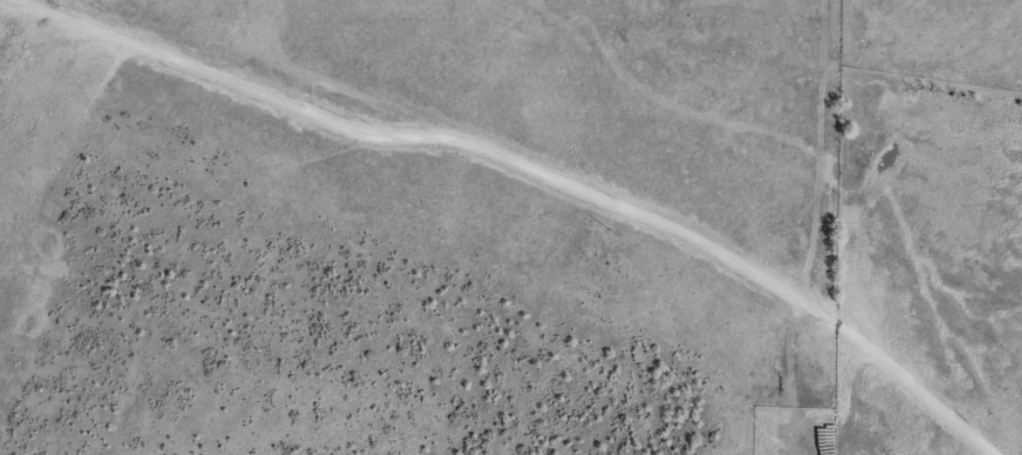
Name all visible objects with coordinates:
road: (629, 224)

